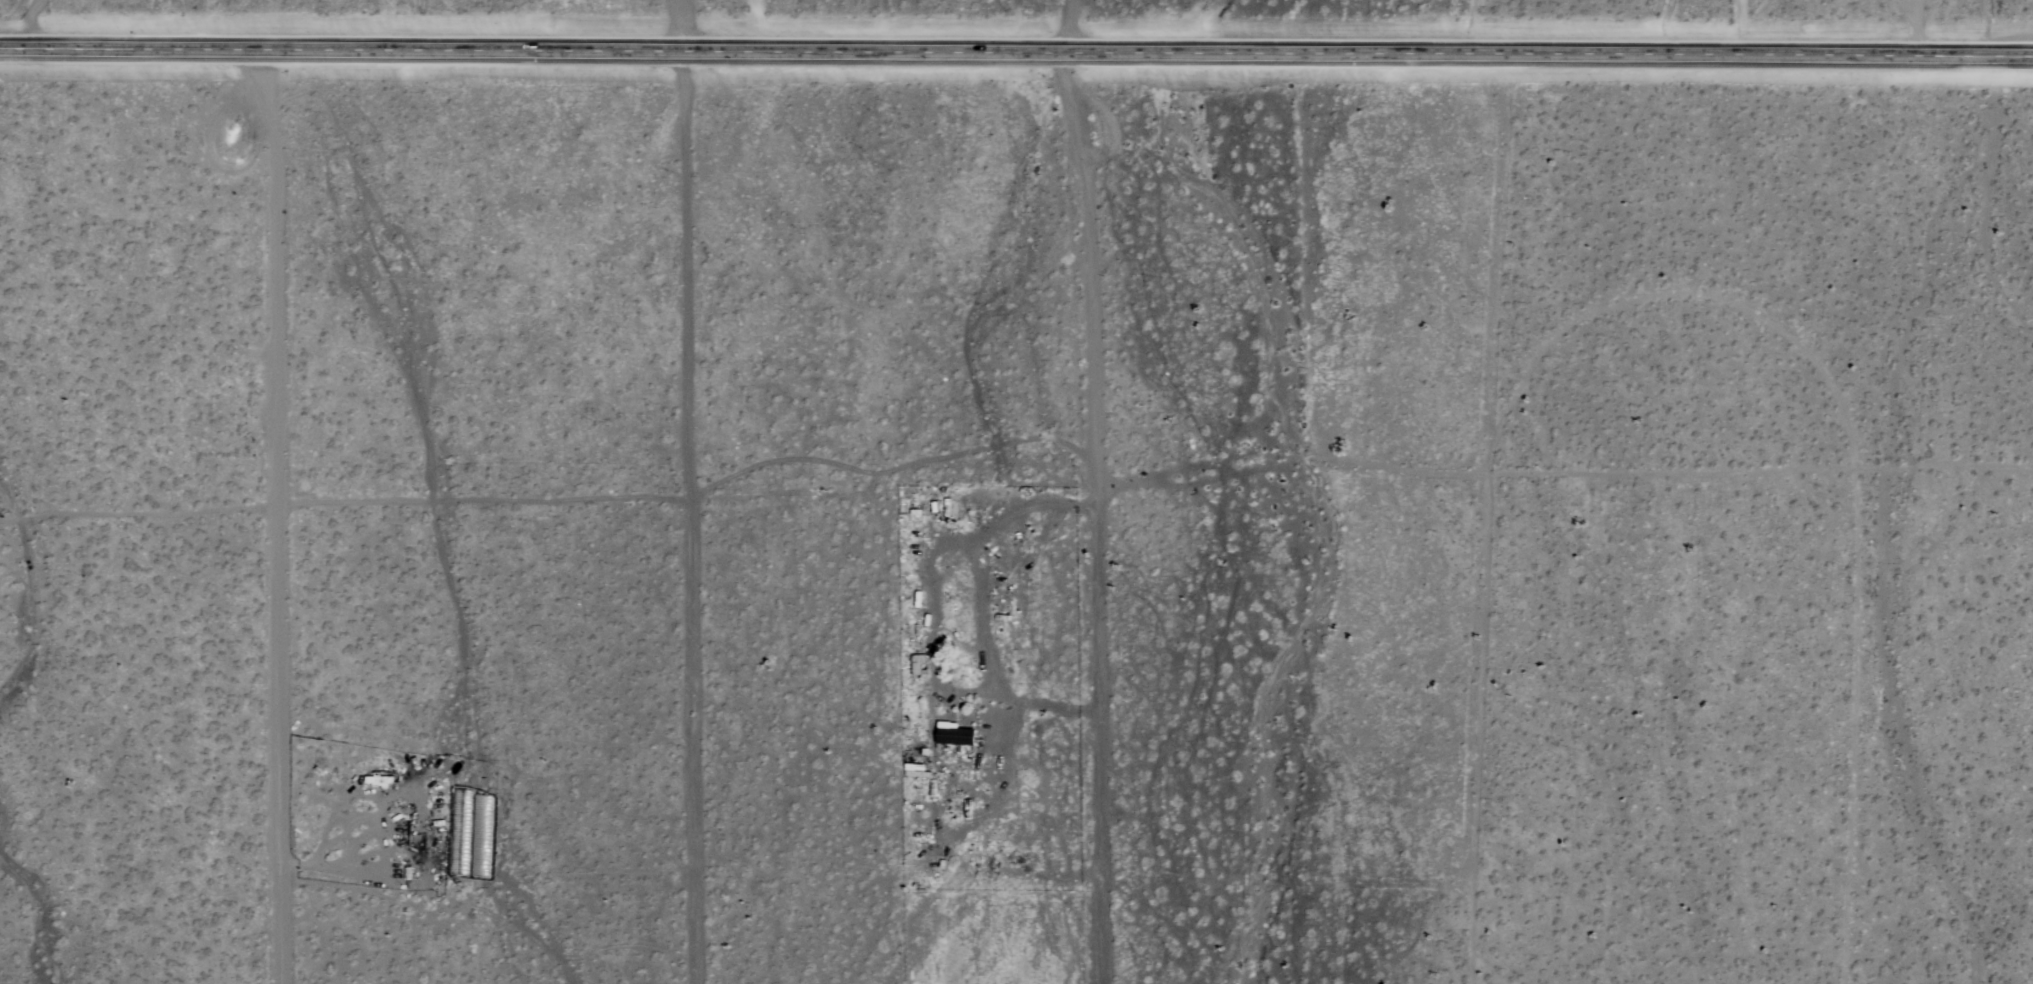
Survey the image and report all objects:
road: (684, 25)
road: (1915, 27)
road: (1016, 51)
road: (1091, 515)
road: (276, 516)
road: (687, 517)
building: (951, 734)

